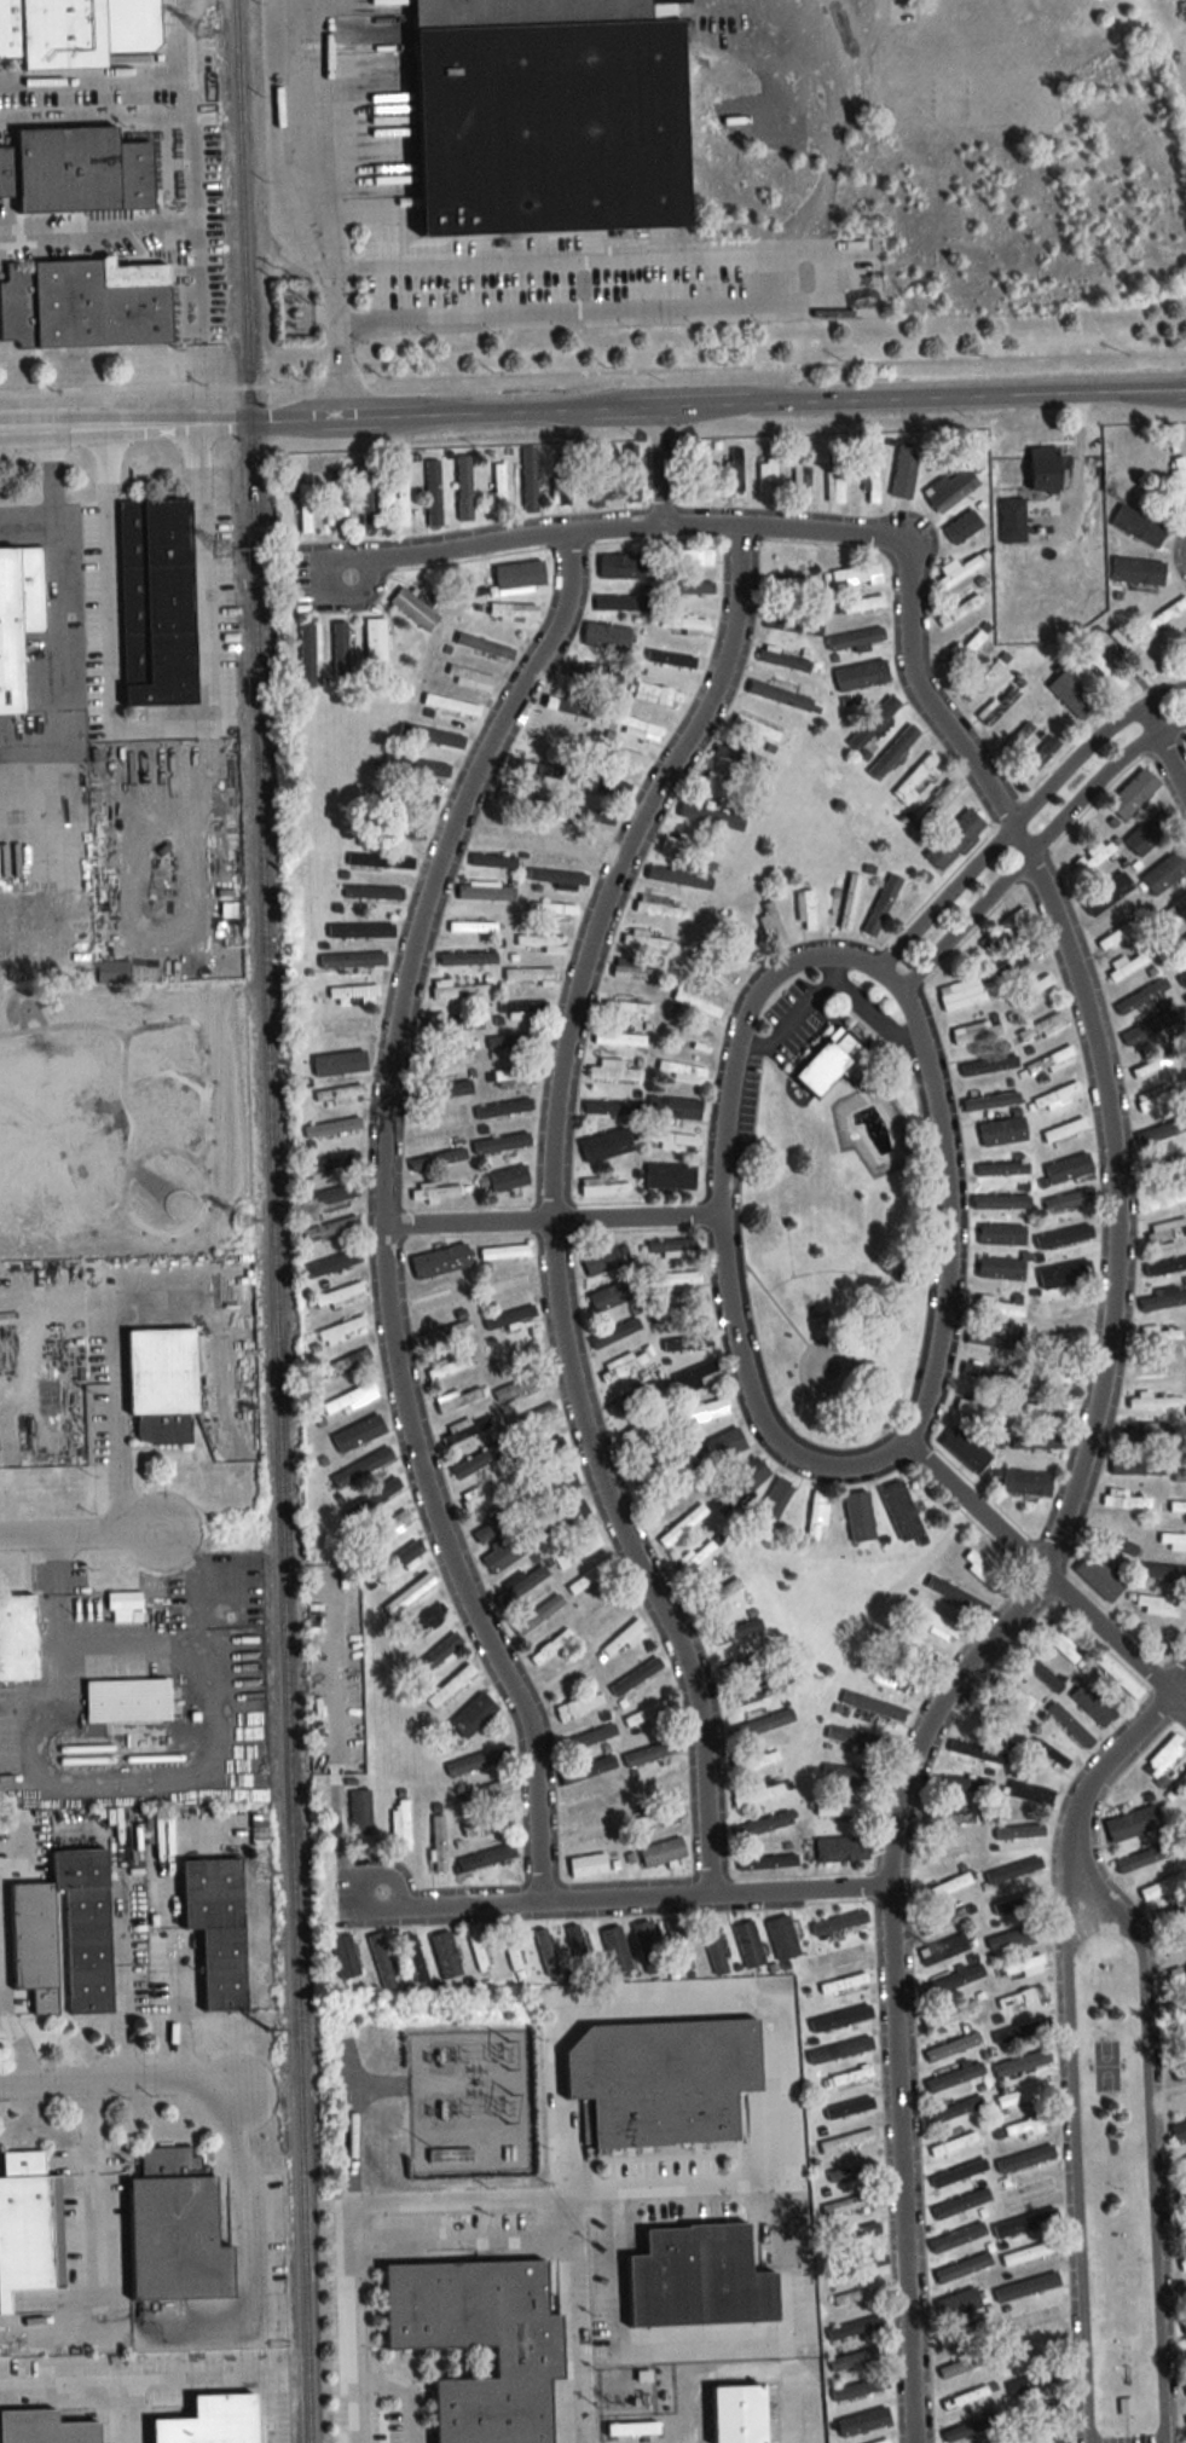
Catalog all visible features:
building: (76, 30)
power tower: (204, 30)
road: (187, 36)
road: (94, 76)
road: (94, 115)
building: (544, 120)
road: (192, 147)
building: (76, 170)
road: (318, 208)
road: (99, 226)
road: (0, 233)
road: (532, 262)
building: (85, 303)
power substation: (293, 313)
road: (648, 313)
road: (690, 410)
road: (150, 426)
road: (52, 429)
building: (733, 469)
building: (1045, 469)
road: (660, 470)
building: (701, 473)
building: (631, 474)
building: (768, 476)
building: (530, 479)
building: (835, 479)
building: (872, 479)
building: (563, 480)
building: (802, 480)
building: (1179, 480)
building: (498, 487)
building: (950, 490)
building: (433, 492)
building: (369, 497)
road: (52, 502)
building: (400, 504)
building: (335, 506)
building: (305, 508)
building: (1012, 520)
building: (962, 526)
building: (1138, 526)
road: (618, 531)
power tower: (224, 550)
building: (689, 556)
building: (625, 566)
building: (959, 569)
building: (1138, 571)
building: (858, 574)
building: (792, 581)
road: (56, 602)
building: (157, 602)
building: (862, 603)
building: (416, 609)
building: (959, 609)
building: (514, 612)
building: (1167, 615)
building: (17, 618)
building: (684, 623)
building: (789, 625)
building: (1185, 630)
building: (607, 637)
building: (856, 637)
building: (375, 639)
building: (967, 644)
building: (485, 647)
building: (340, 650)
building: (1132, 650)
building: (308, 654)
building: (785, 660)
building: (1104, 670)
building: (592, 675)
building: (862, 676)
building: (470, 678)
building: (1068, 688)
building: (659, 695)
building: (780, 695)
building: (999, 705)
building: (451, 706)
road: (161, 722)
building: (873, 723)
building: (638, 728)
building: (757, 728)
building: (432, 736)
building: (1018, 737)
road: (1165, 748)
building: (893, 752)
building: (624, 756)
building: (741, 758)
building: (1036, 759)
building: (417, 766)
building: (530, 769)
building: (915, 777)
building: (602, 785)
building: (719, 786)
building: (1133, 794)
building: (389, 797)
building: (515, 798)
building: (426, 801)
building: (935, 805)
building: (585, 815)
road: (1020, 817)
building: (711, 818)
building: (404, 832)
building: (1149, 833)
building: (954, 840)
road: (1030, 845)
building: (687, 846)
building: (573, 847)
building: (1090, 858)
building: (381, 862)
building: (493, 862)
building: (1164, 873)
building: (559, 879)
building: (679, 879)
building: (485, 891)
building: (374, 893)
building: (850, 902)
building: (883, 907)
building: (552, 909)
building: (805, 911)
building: (1174, 911)
building: (770, 922)
building: (368, 925)
building: (1008, 925)
building: (473, 927)
building: (1118, 933)
building: (740, 937)
building: (646, 940)
building: (543, 943)
building: (468, 959)
building: (353, 960)
building: (1017, 962)
building: (716, 969)
building: (114, 972)
building: (636, 973)
building: (531, 976)
building: (457, 990)
building: (1031, 990)
building: (961, 994)
building: (355, 995)
building: (1140, 996)
building: (695, 1007)
building: (523, 1011)
building: (1184, 1015)
building: (455, 1024)
building: (1041, 1027)
building: (1147, 1027)
building: (976, 1031)
building: (687, 1037)
building: (620, 1040)
building: (511, 1041)
building: (445, 1058)
building: (1048, 1061)
building: (342, 1063)
building: (828, 1063)
building: (989, 1065)
building: (1153, 1065)
building: (613, 1071)
building: (681, 1072)
building: (515, 1073)
building: (444, 1089)
building: (1155, 1096)
building: (1055, 1098)
building: (990, 1101)
building: (504, 1108)
building: (612, 1108)
building: (675, 1108)
building: (332, 1128)
building: (1063, 1130)
building: (1002, 1131)
building: (1162, 1131)
building: (675, 1142)
building: (503, 1144)
building: (438, 1158)
building: (331, 1163)
building: (1159, 1165)
building: (1002, 1169)
building: (1068, 1169)
building: (509, 1179)
building: (607, 1189)
building: (436, 1192)
building: (334, 1196)
building: (1164, 1198)
building: (1001, 1202)
building: (1068, 1202)
road: (554, 1209)
road: (380, 1212)
road: (721, 1215)
road: (945, 1215)
power tower: (244, 1218)
railway: (268, 1221)
road: (550, 1226)
building: (331, 1228)
building: (1165, 1231)
building: (1001, 1235)
building: (1069, 1237)
building: (669, 1249)
park: (837, 1251)
building: (504, 1252)
building: (602, 1260)
building: (442, 1261)
building: (332, 1263)
building: (1001, 1269)
building: (1059, 1277)
building: (676, 1283)
building: (340, 1296)
building: (613, 1296)
building: (1162, 1301)
building: (999, 1308)
building: (1060, 1308)
building: (677, 1314)
building: (515, 1319)
building: (342, 1331)
building: (449, 1332)
building: (615, 1333)
building: (1161, 1335)
building: (1059, 1339)
building: (995, 1342)
building: (693, 1343)
building: (511, 1357)
building: (347, 1364)
building: (623, 1365)
building: (1155, 1365)
building: (450, 1367)
building: (988, 1373)
building: (1052, 1374)
building: (696, 1376)
road: (116, 1378)
building: (162, 1382)
building: (521, 1385)
building: (632, 1399)
building: (349, 1400)
building: (456, 1400)
building: (979, 1408)
building: (1045, 1408)
building: (705, 1411)
building: (464, 1430)
building: (641, 1432)
building: (359, 1434)
building: (1145, 1435)
building: (1037, 1442)
building: (1184, 1442)
building: (721, 1447)
building: (966, 1449)
building: (539, 1452)
building: (476, 1463)
building: (653, 1464)
building: (363, 1467)
building: (1139, 1467)
building: (750, 1475)
building: (1179, 1475)
building: (1026, 1483)
building: (555, 1487)
building: (482, 1495)
road: (1074, 1495)
building: (665, 1497)
building: (374, 1499)
building: (1123, 1499)
building: (775, 1501)
building: (1178, 1506)
building: (901, 1511)
building: (817, 1516)
building: (566, 1518)
building: (855, 1521)
building: (494, 1527)
building: (682, 1527)
building: (388, 1528)
road: (82, 1533)
building: (1174, 1541)
building: (1111, 1542)
building: (577, 1550)
building: (509, 1551)
building: (693, 1559)
building: (394, 1564)
building: (982, 1570)
building: (1162, 1570)
road: (1047, 1574)
building: (589, 1577)
building: (521, 1585)
building: (409, 1594)
building: (721, 1594)
building: (956, 1594)
building: (125, 1602)
building: (1157, 1605)
building: (604, 1613)
building: (538, 1615)
building: (935, 1620)
building: (424, 1622)
building: (736, 1632)
building: (18, 1638)
building: (625, 1638)
road: (128, 1639)
building: (1059, 1640)
building: (551, 1646)
building: (914, 1646)
building: (433, 1657)
building: (748, 1663)
building: (1039, 1669)
building: (568, 1674)
building: (1118, 1675)
building: (636, 1677)
building: (893, 1677)
building: (451, 1686)
building: (754, 1692)
building: (1013, 1695)
building: (128, 1702)
building: (1093, 1703)
building: (873, 1704)
building: (577, 1707)
building: (474, 1714)
building: (648, 1714)
building: (764, 1723)
building: (1070, 1725)
building: (589, 1737)
building: (858, 1737)
building: (977, 1752)
building: (653, 1753)
building: (1049, 1753)
building: (1164, 1756)
building: (479, 1759)
building: (752, 1761)
road: (1110, 1765)
building: (588, 1770)
building: (850, 1772)
road: (123, 1779)
building: (964, 1783)
building: (488, 1791)
building: (1026, 1791)
building: (758, 1793)
building: (582, 1801)
building: (844, 1810)
building: (361, 1813)
building: (948, 1816)
building: (658, 1818)
building: (487, 1822)
building: (400, 1823)
building: (763, 1824)
building: (1132, 1824)
building: (1184, 1824)
building: (1014, 1835)
building: (439, 1842)
building: (841, 1848)
building: (663, 1852)
building: (1146, 1857)
building: (485, 1858)
building: (768, 1862)
building: (589, 1865)
building: (1013, 1870)
power tower: (262, 1871)
building: (1163, 1886)
building: (945, 1887)
road: (629, 1901)
building: (1171, 1915)
building: (941, 1920)
building: (839, 1922)
building: (218, 1927)
building: (782, 1937)
building: (1009, 1938)
building: (33, 1940)
building: (678, 1944)
building: (748, 1944)
building: (713, 1945)
building: (650, 1946)
building: (1174, 1946)
building: (577, 1949)
building: (617, 1949)
building: (943, 1950)
building: (478, 1951)
building: (445, 1953)
building: (514, 1953)
building: (343, 1956)
building: (380, 1961)
road: (122, 1967)
building: (1025, 1967)
building: (1176, 1976)
building: (953, 1981)
road: (4, 1985)
building: (843, 1985)
building: (1020, 1999)
building: (1176, 2008)
building: (950, 2015)
power tower: (267, 2027)
building: (1022, 2031)
building: (953, 2047)
building: (840, 2049)
building: (1024, 2062)
building: (1179, 2072)
building: (850, 2076)
building: (955, 2077)
building: (665, 2078)
road: (380, 2083)
road: (118, 2085)
building: (1024, 2095)
building: (1185, 2096)
power substation: (468, 2101)
building: (955, 2109)
building: (847, 2111)
road: (351, 2118)
building: (1023, 2126)
building: (1179, 2132)
building: (846, 2142)
road: (1151, 2142)
building: (956, 2143)
building: (1026, 2158)
road: (780, 2159)
road: (1074, 2161)
building: (1182, 2164)
road: (89, 2165)
building: (851, 2171)
building: (959, 2172)
park: (1112, 2186)
road: (699, 2187)
building: (1016, 2195)
building: (1184, 2195)
building: (961, 2202)
building: (850, 2204)
road: (565, 2210)
road: (253, 2215)
building: (1023, 2224)
building: (29, 2225)
building: (175, 2229)
building: (1182, 2234)
building: (956, 2236)
building: (1028, 2252)
building: (860, 2264)
building: (1182, 2264)
building: (1026, 2286)
building: (1184, 2294)
building: (856, 2296)
building: (958, 2303)
building: (1035, 2317)
road: (353, 2322)
building: (855, 2328)
building: (1184, 2328)
building: (965, 2332)
building: (480, 2345)
building: (1184, 2360)
building: (854, 2361)
building: (966, 2363)
road: (134, 2383)
building: (1029, 2384)
building: (860, 2389)
building: (964, 2397)
building: (1123, 2407)
road: (121, 2413)
building: (739, 2414)
building: (1039, 2414)
building: (212, 2421)
building: (863, 2421)
building: (45, 2428)
building: (632, 2428)
building: (880, 2439)

